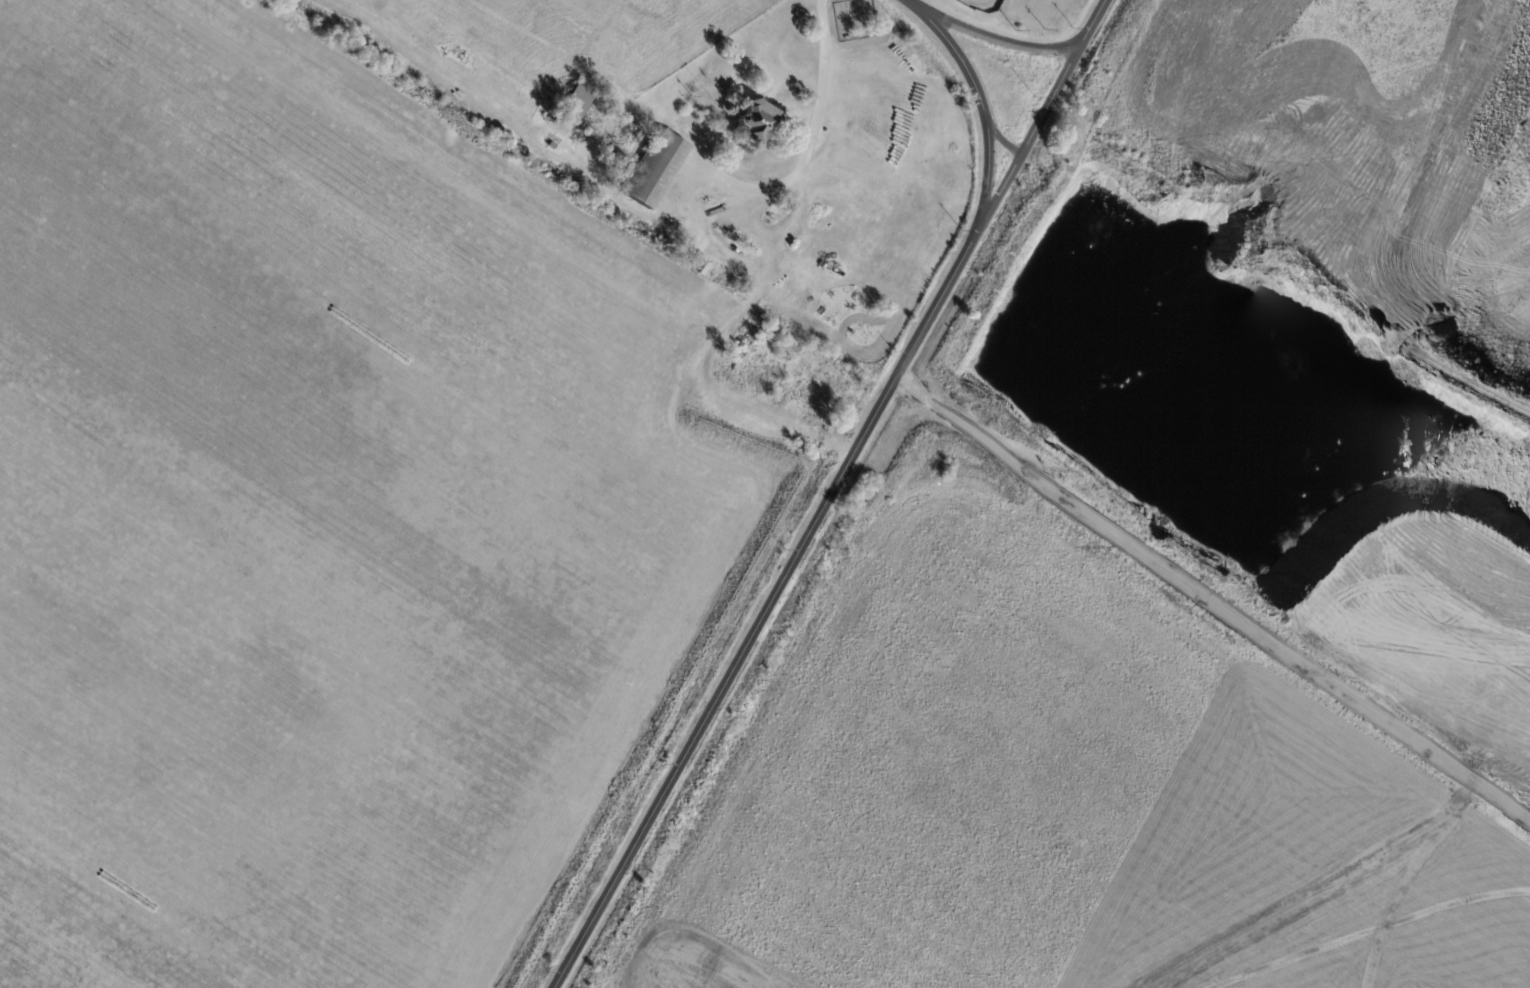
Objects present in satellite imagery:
road: (911, 4)
road: (983, 6)
park: (858, 21)
road: (995, 37)
road: (982, 98)
building: (580, 101)
road: (1047, 103)
building: (660, 121)
building: (757, 123)
road: (1004, 140)
building: (552, 147)
building: (655, 170)
road: (765, 283)
building: (1002, 353)
road: (1287, 452)
quarry: (1162, 558)
road: (775, 597)
road: (1209, 605)

